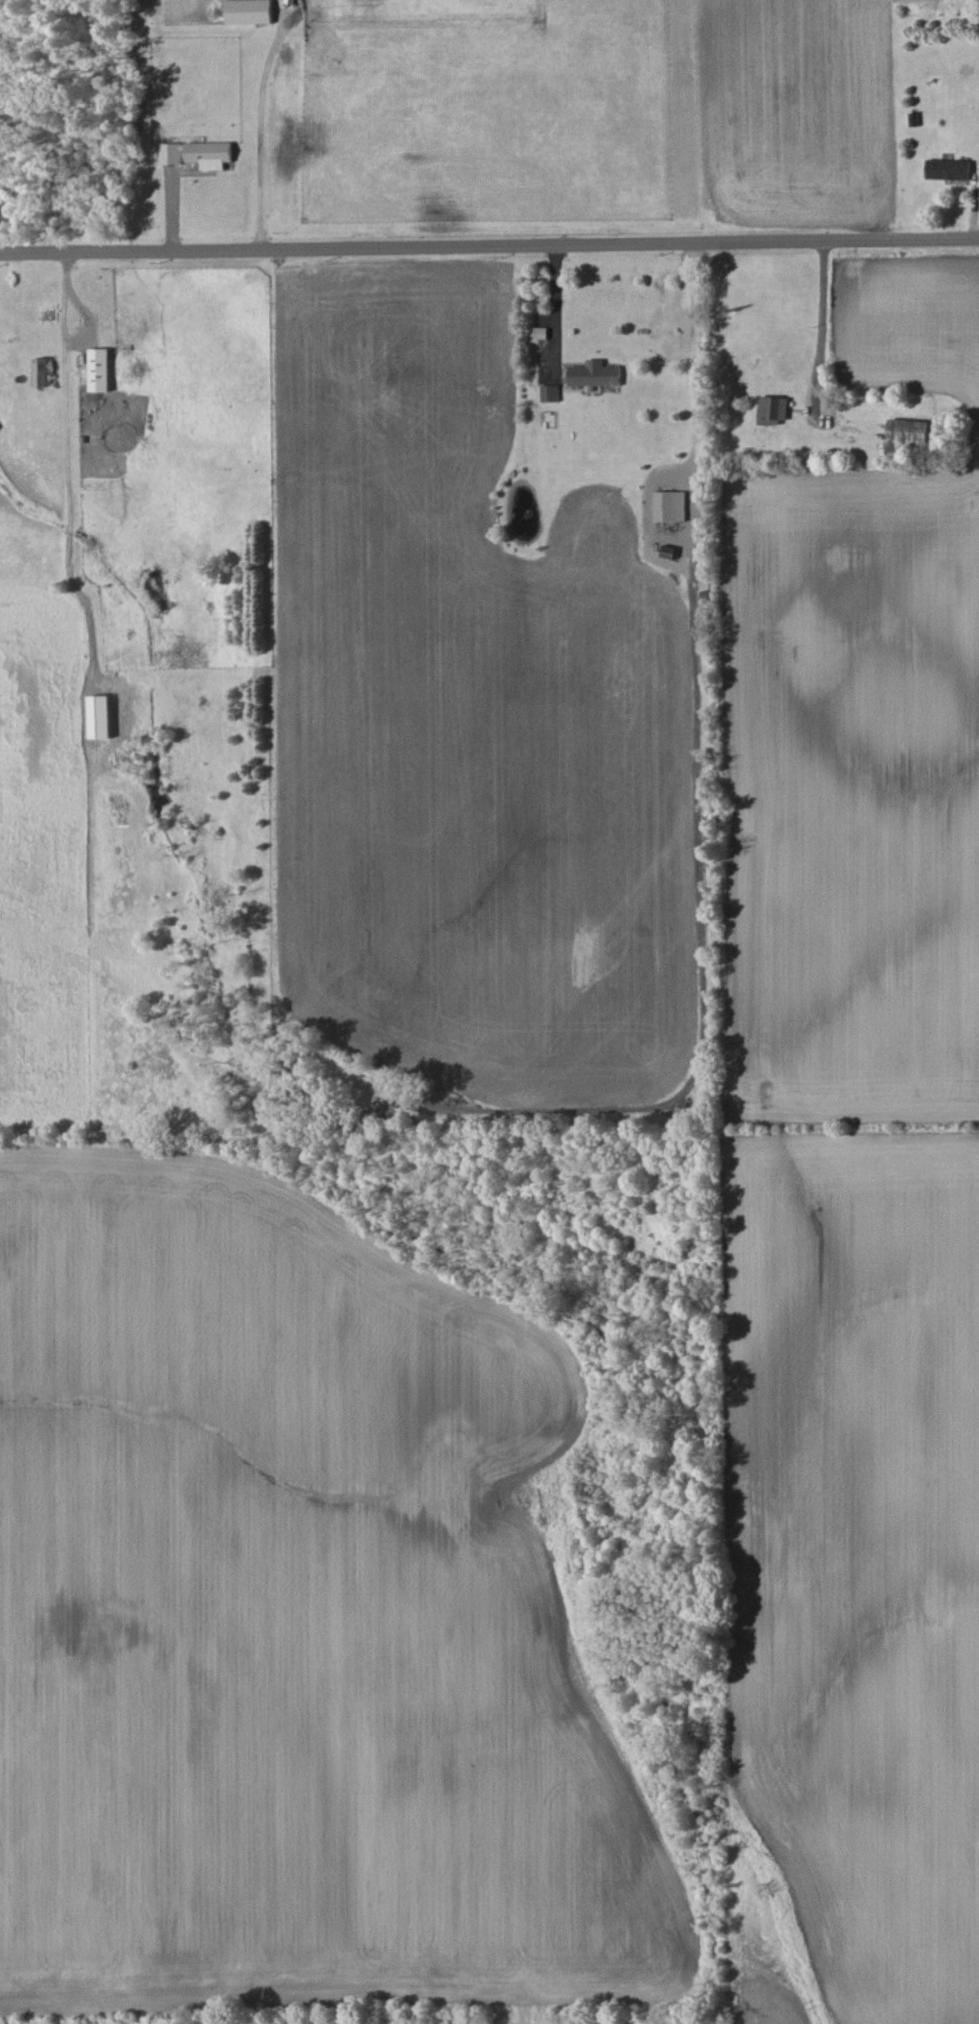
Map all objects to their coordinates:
building: (248, 11)
road: (260, 134)
building: (197, 154)
building: (948, 169)
road: (489, 246)
road: (555, 308)
road: (819, 357)
building: (99, 370)
building: (41, 372)
building: (594, 374)
building: (549, 393)
building: (773, 410)
building: (906, 433)
building: (670, 506)
building: (100, 716)
road: (699, 833)

